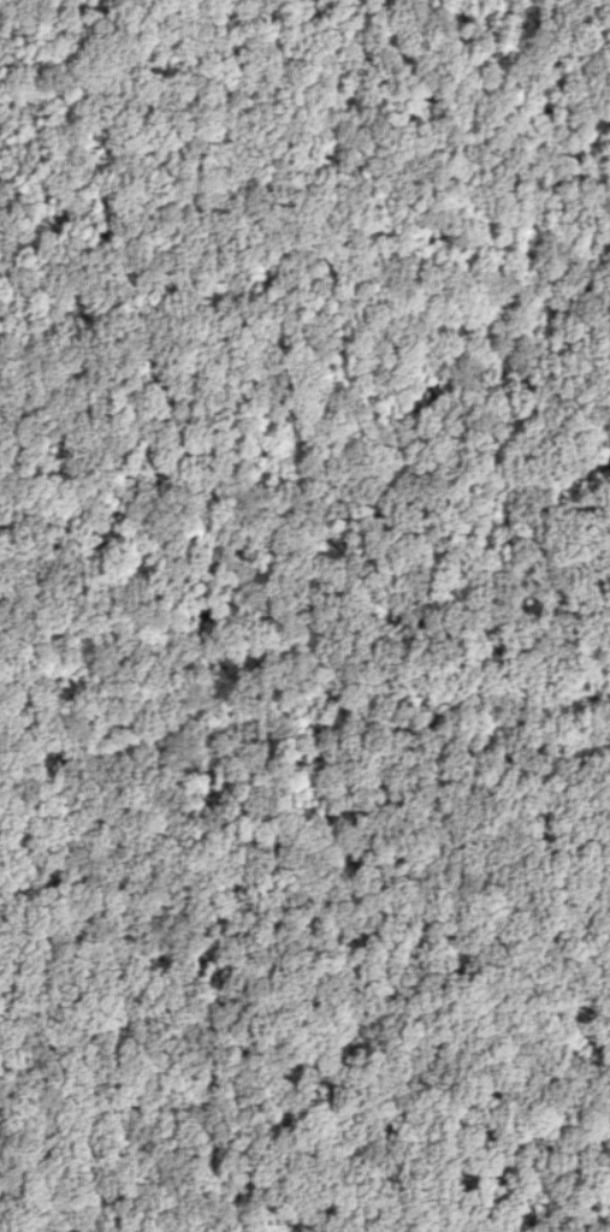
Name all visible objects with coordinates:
road: (597, 6)
park: (304, 616)
road: (575, 1177)

